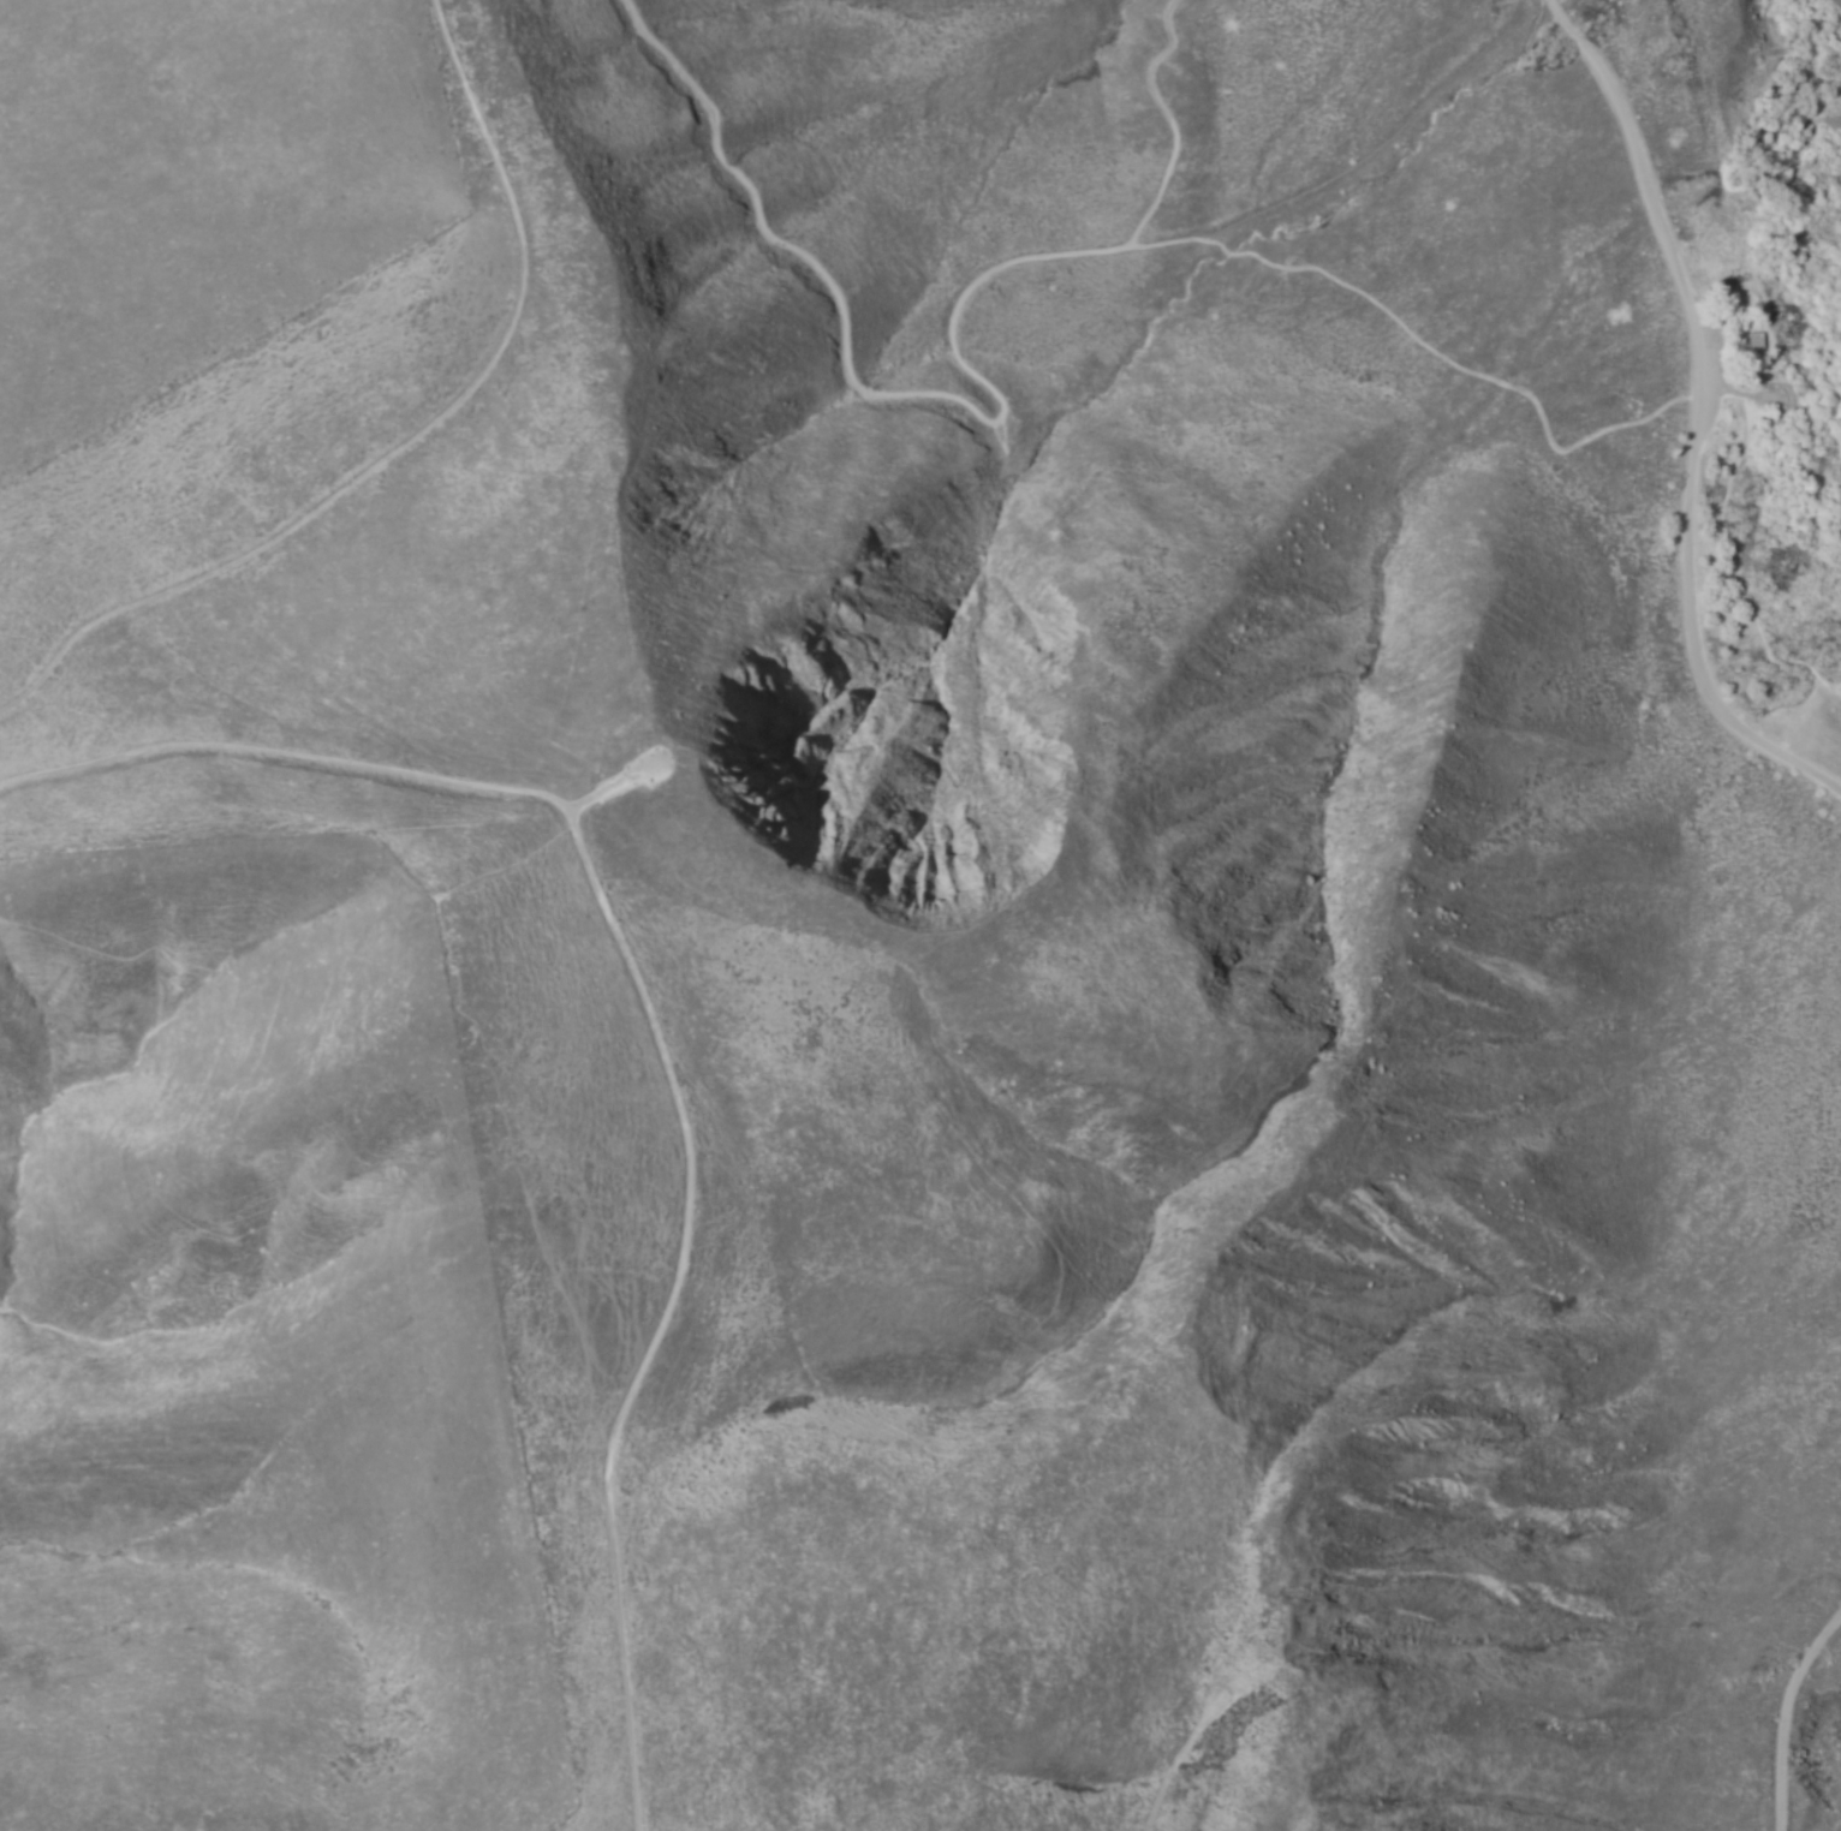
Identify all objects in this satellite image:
building: (1754, 342)
road: (1423, 350)
road: (1691, 419)
road: (991, 424)
road: (407, 443)
road: (1728, 551)
road: (1835, 681)
road: (655, 1032)
road: (1781, 1718)

